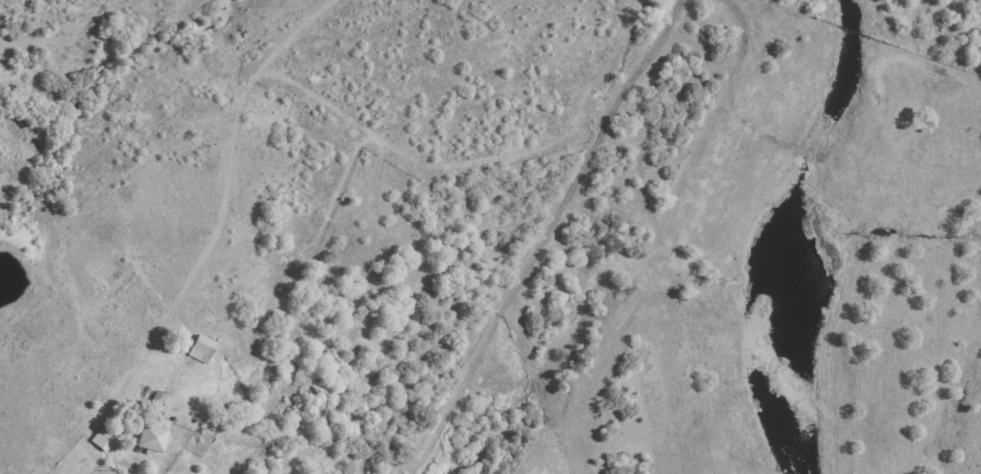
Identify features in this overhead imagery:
building: (201, 349)
building: (157, 399)
building: (231, 412)
building: (151, 435)
building: (104, 438)
road: (85, 466)

